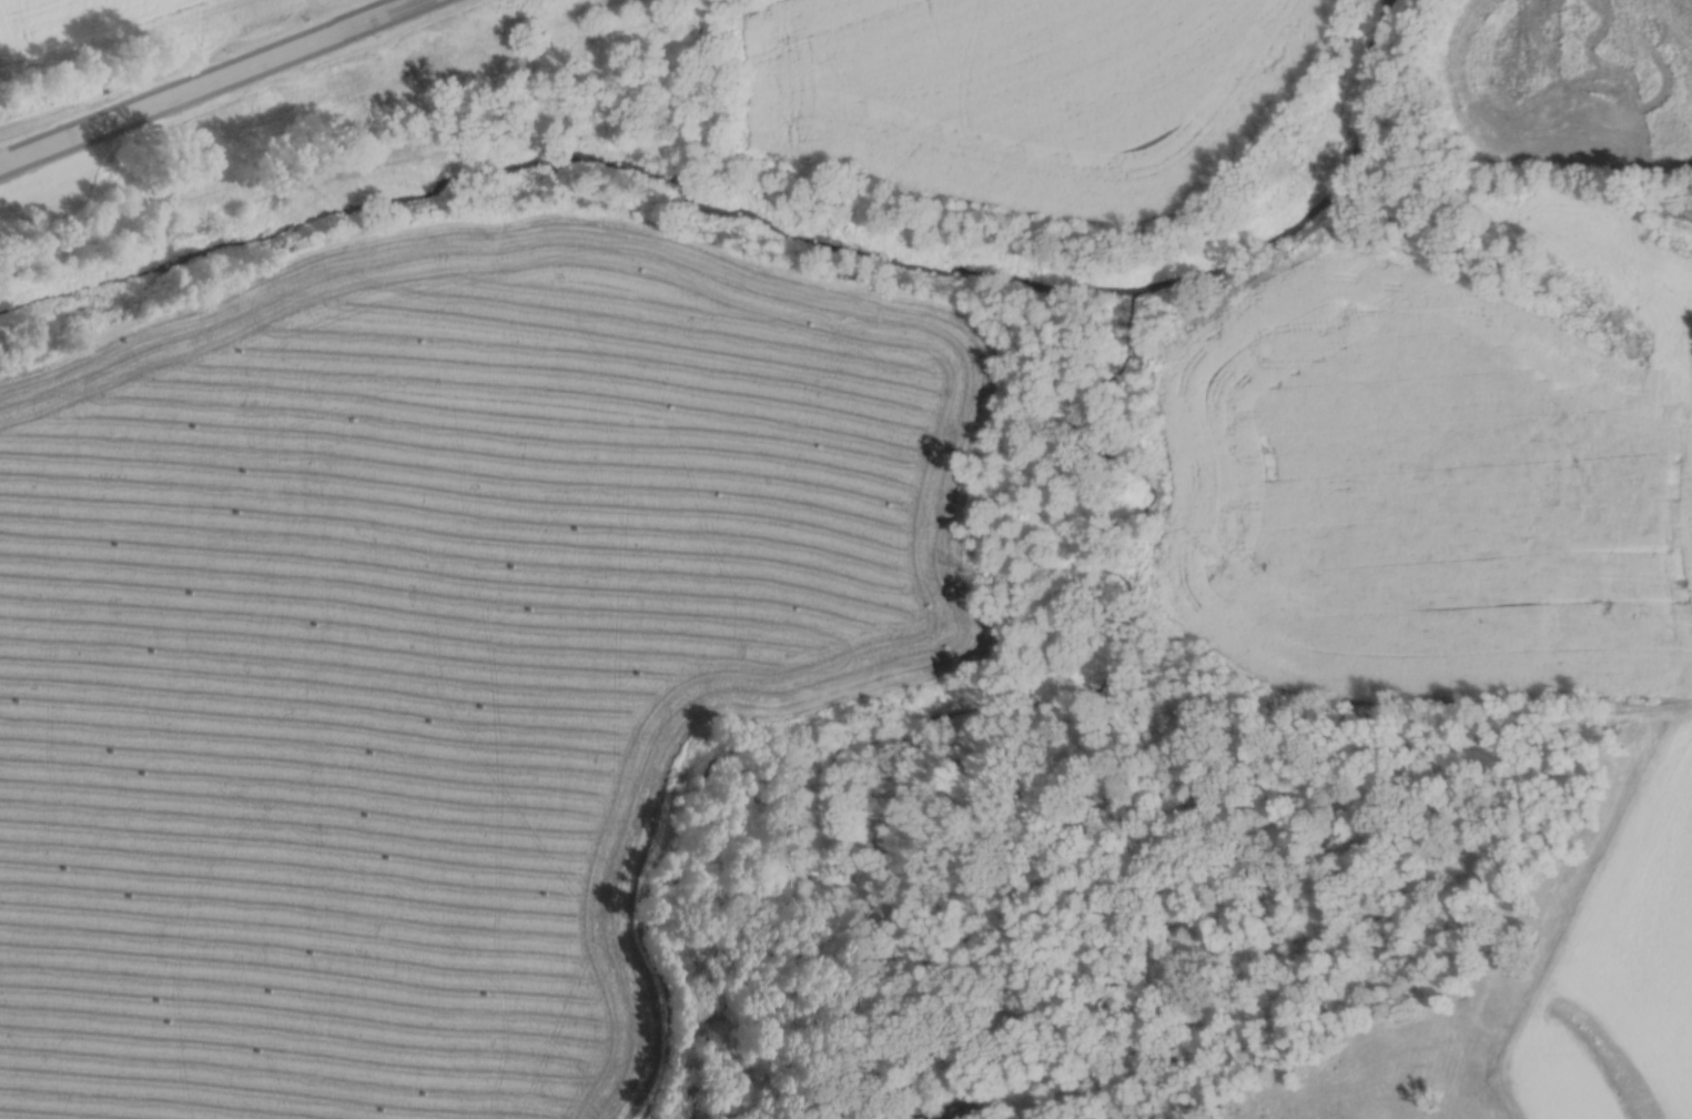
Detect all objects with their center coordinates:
road: (212, 81)

